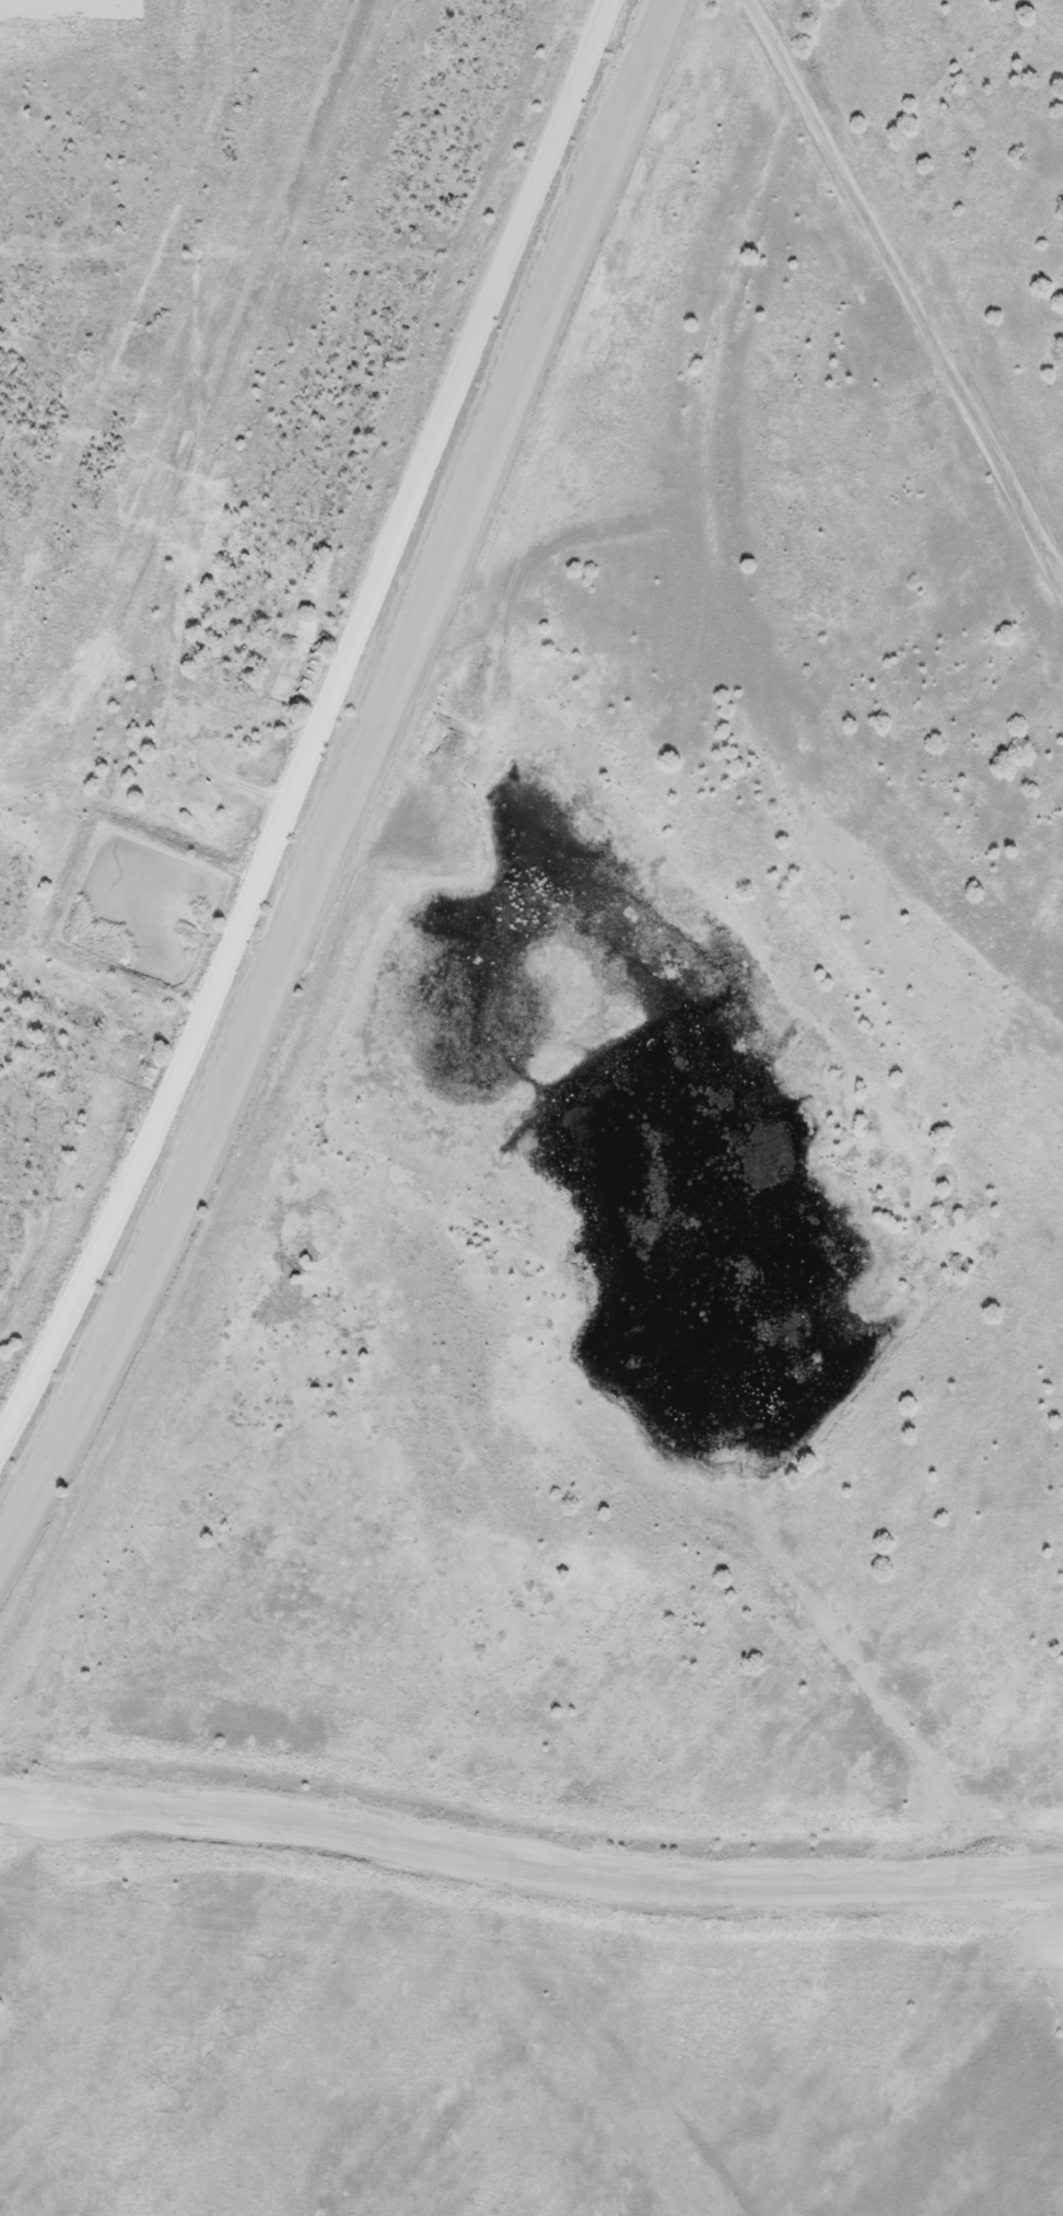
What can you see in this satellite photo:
road: (144, 98)
road: (57, 265)
road: (320, 726)
road: (373, 799)
quarry: (599, 1234)

